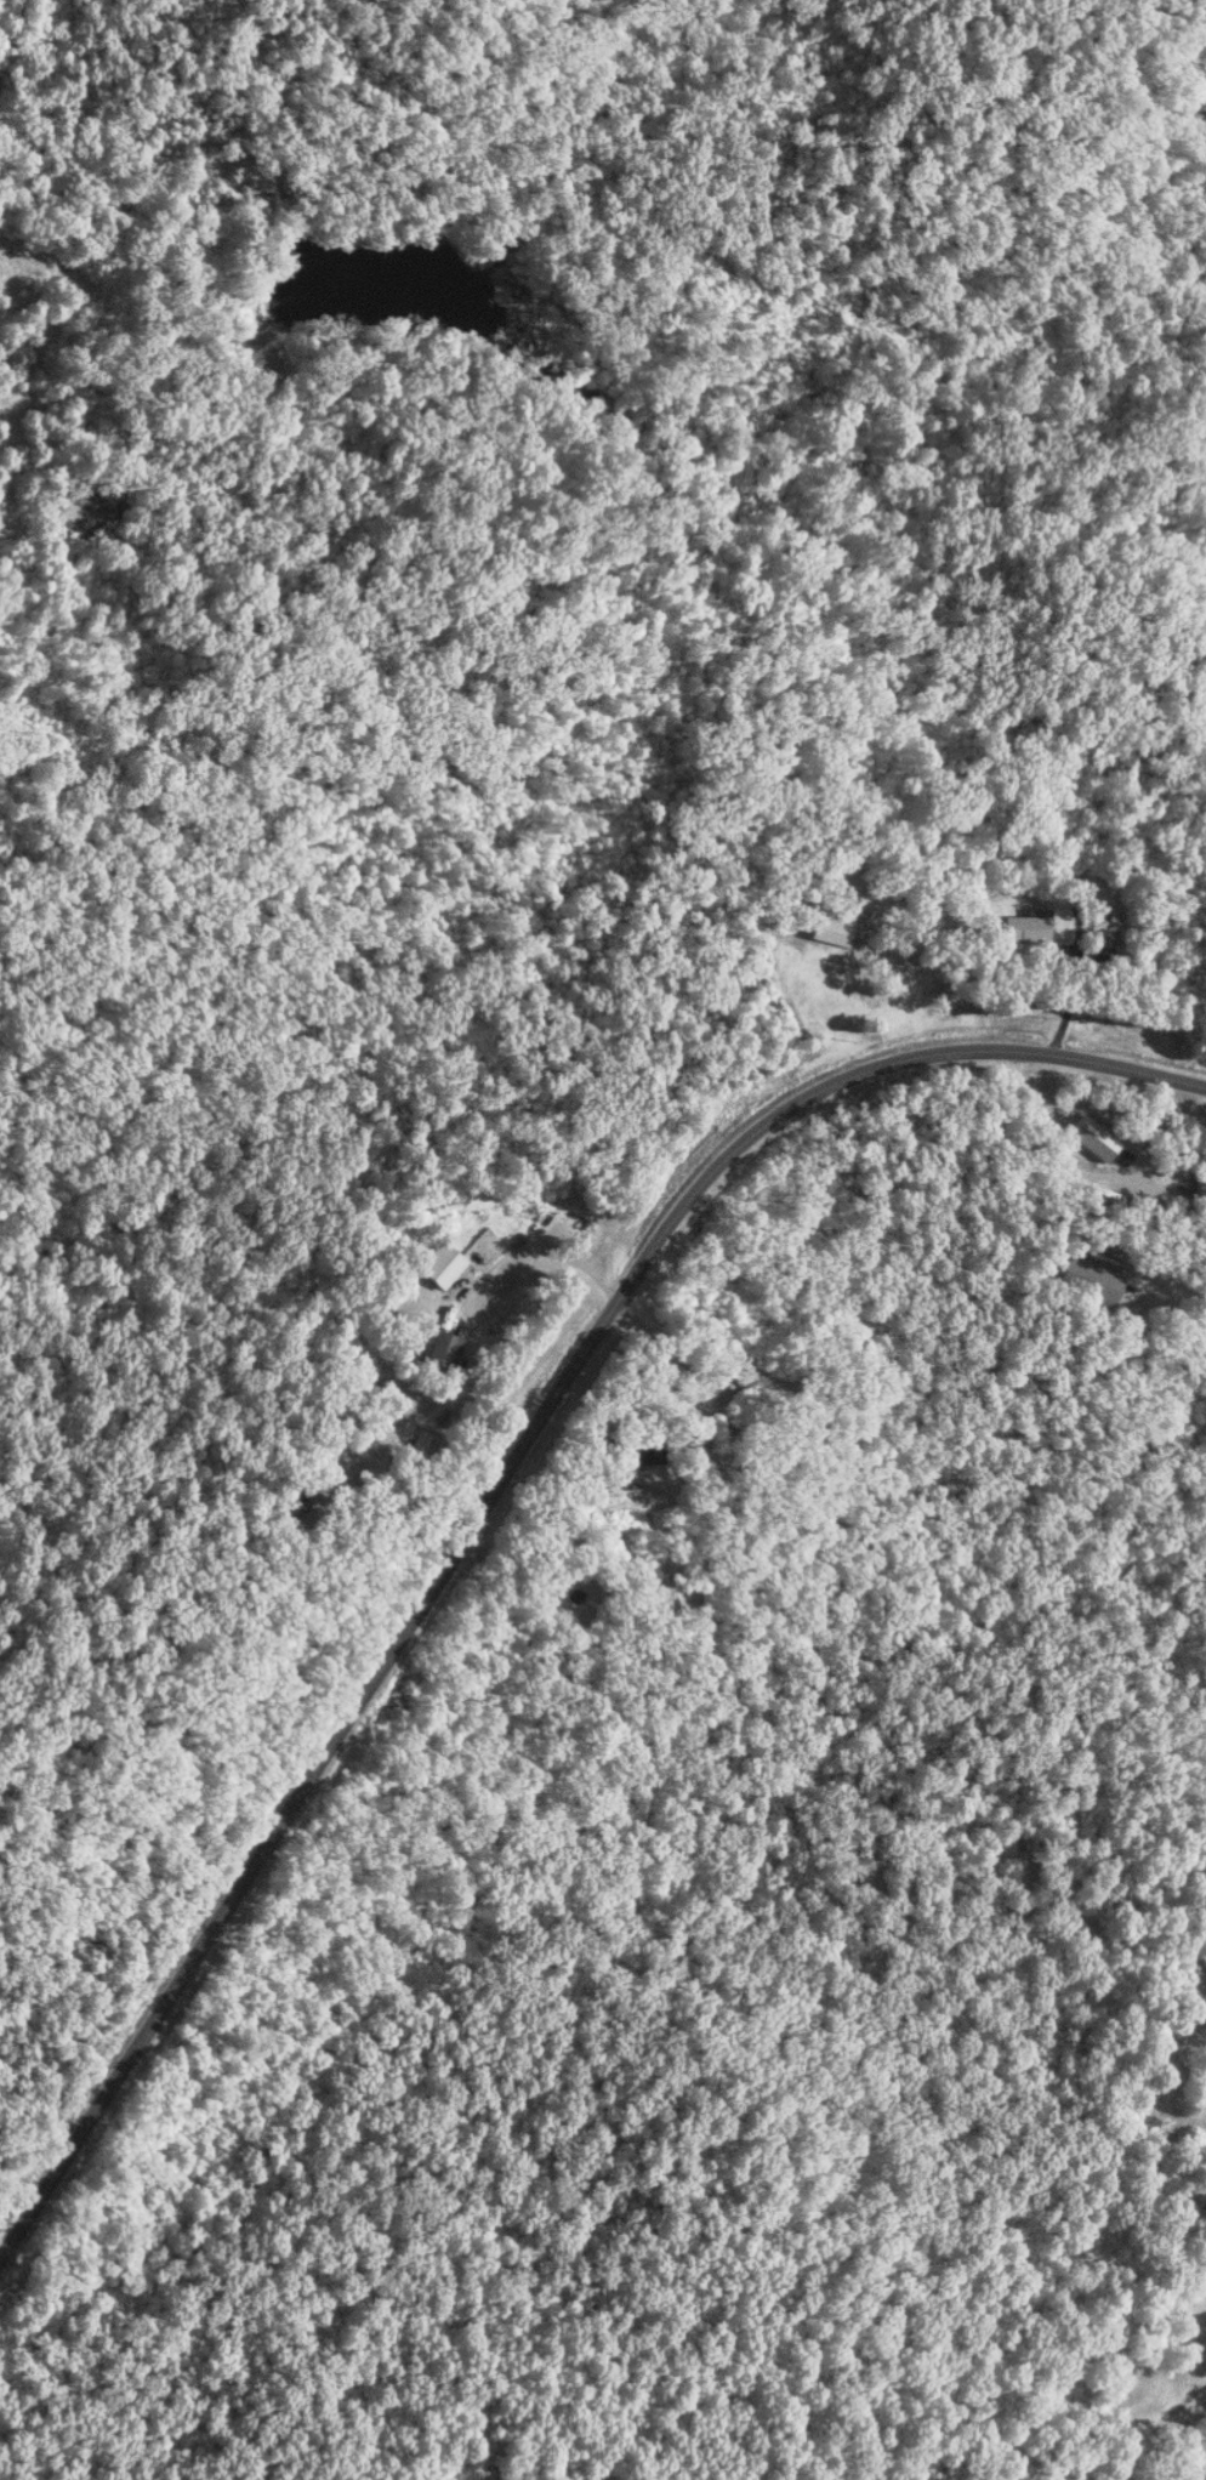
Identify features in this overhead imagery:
building: (832, 925)
building: (1026, 925)
building: (1105, 928)
building: (1200, 1190)
building: (443, 1264)
building: (1092, 1279)
building: (440, 1350)
building: (639, 1450)
road: (497, 1486)
road: (19, 2183)
road: (1162, 2439)

